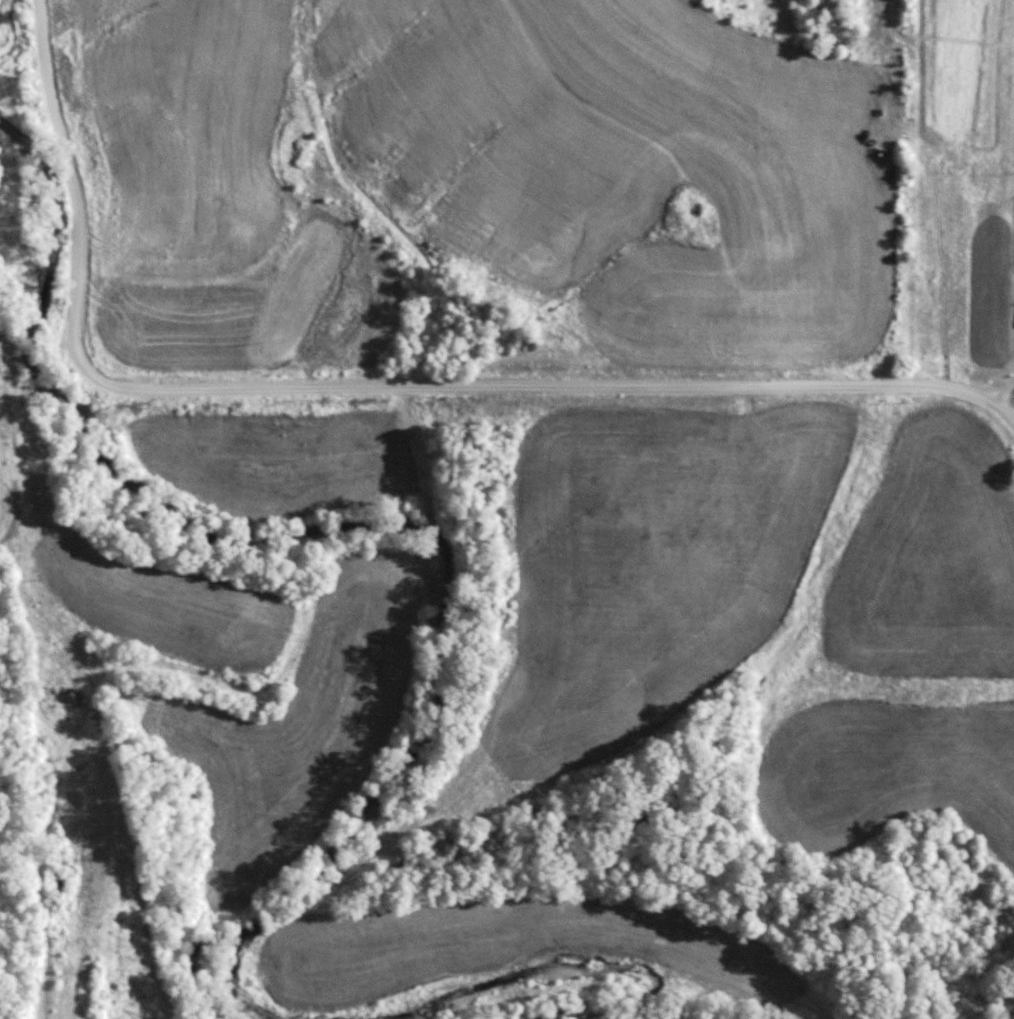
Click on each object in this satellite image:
road: (26, 15)
road: (391, 378)

